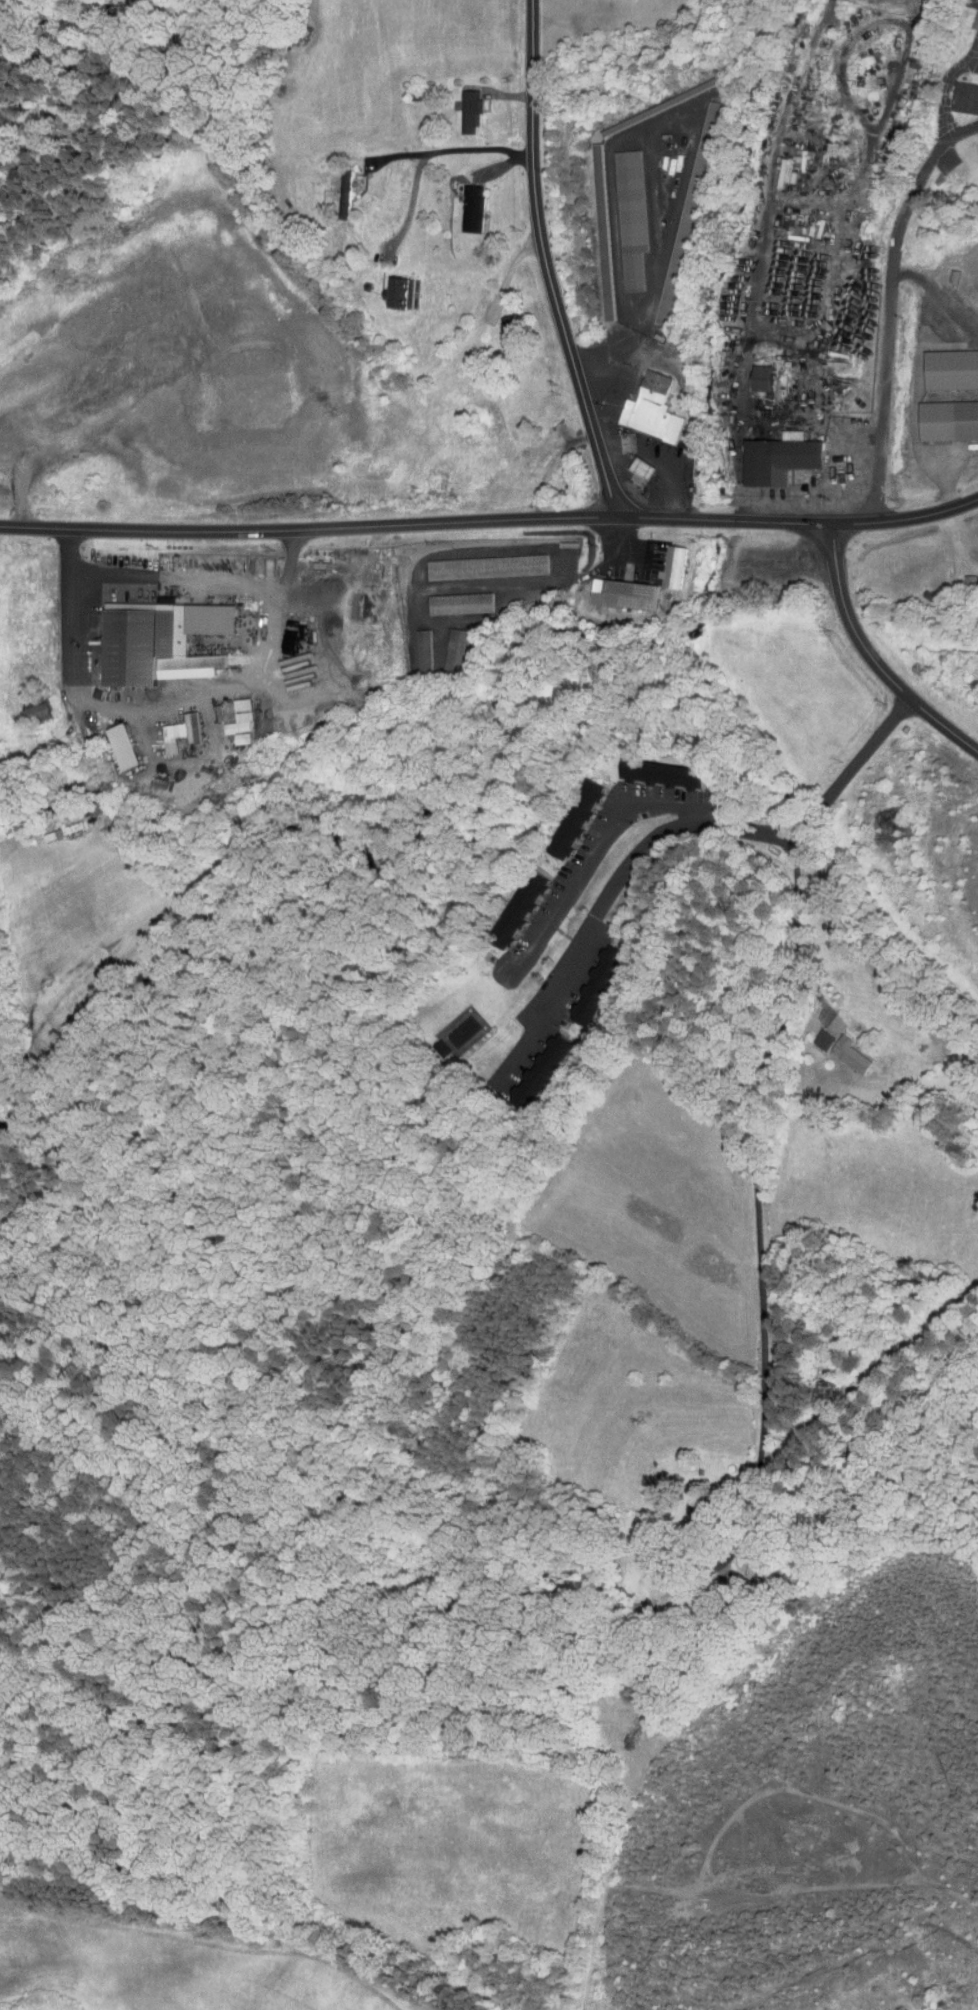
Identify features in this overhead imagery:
road: (943, 84)
building: (961, 92)
building: (462, 105)
road: (690, 135)
road: (438, 154)
building: (775, 168)
building: (336, 189)
building: (465, 203)
road: (410, 206)
building: (621, 212)
building: (592, 226)
road: (545, 262)
road: (507, 275)
road: (889, 305)
building: (500, 327)
building: (948, 364)
building: (758, 374)
building: (644, 403)
building: (945, 415)
building: (774, 452)
road: (658, 457)
road: (490, 521)
building: (479, 560)
building: (666, 560)
road: (176, 577)
building: (617, 587)
building: (452, 597)
building: (154, 635)
building: (446, 645)
building: (414, 646)
road: (868, 656)
building: (296, 665)
road: (156, 701)
building: (35, 704)
building: (234, 716)
building: (174, 726)
building: (118, 740)
building: (659, 767)
road: (853, 769)
building: (572, 812)
road: (593, 853)
road: (603, 881)
building: (515, 901)
road: (628, 948)
building: (592, 979)
building: (815, 1033)
building: (841, 1049)
building: (531, 1064)
road: (910, 1116)
road: (761, 1149)
road: (746, 1525)

